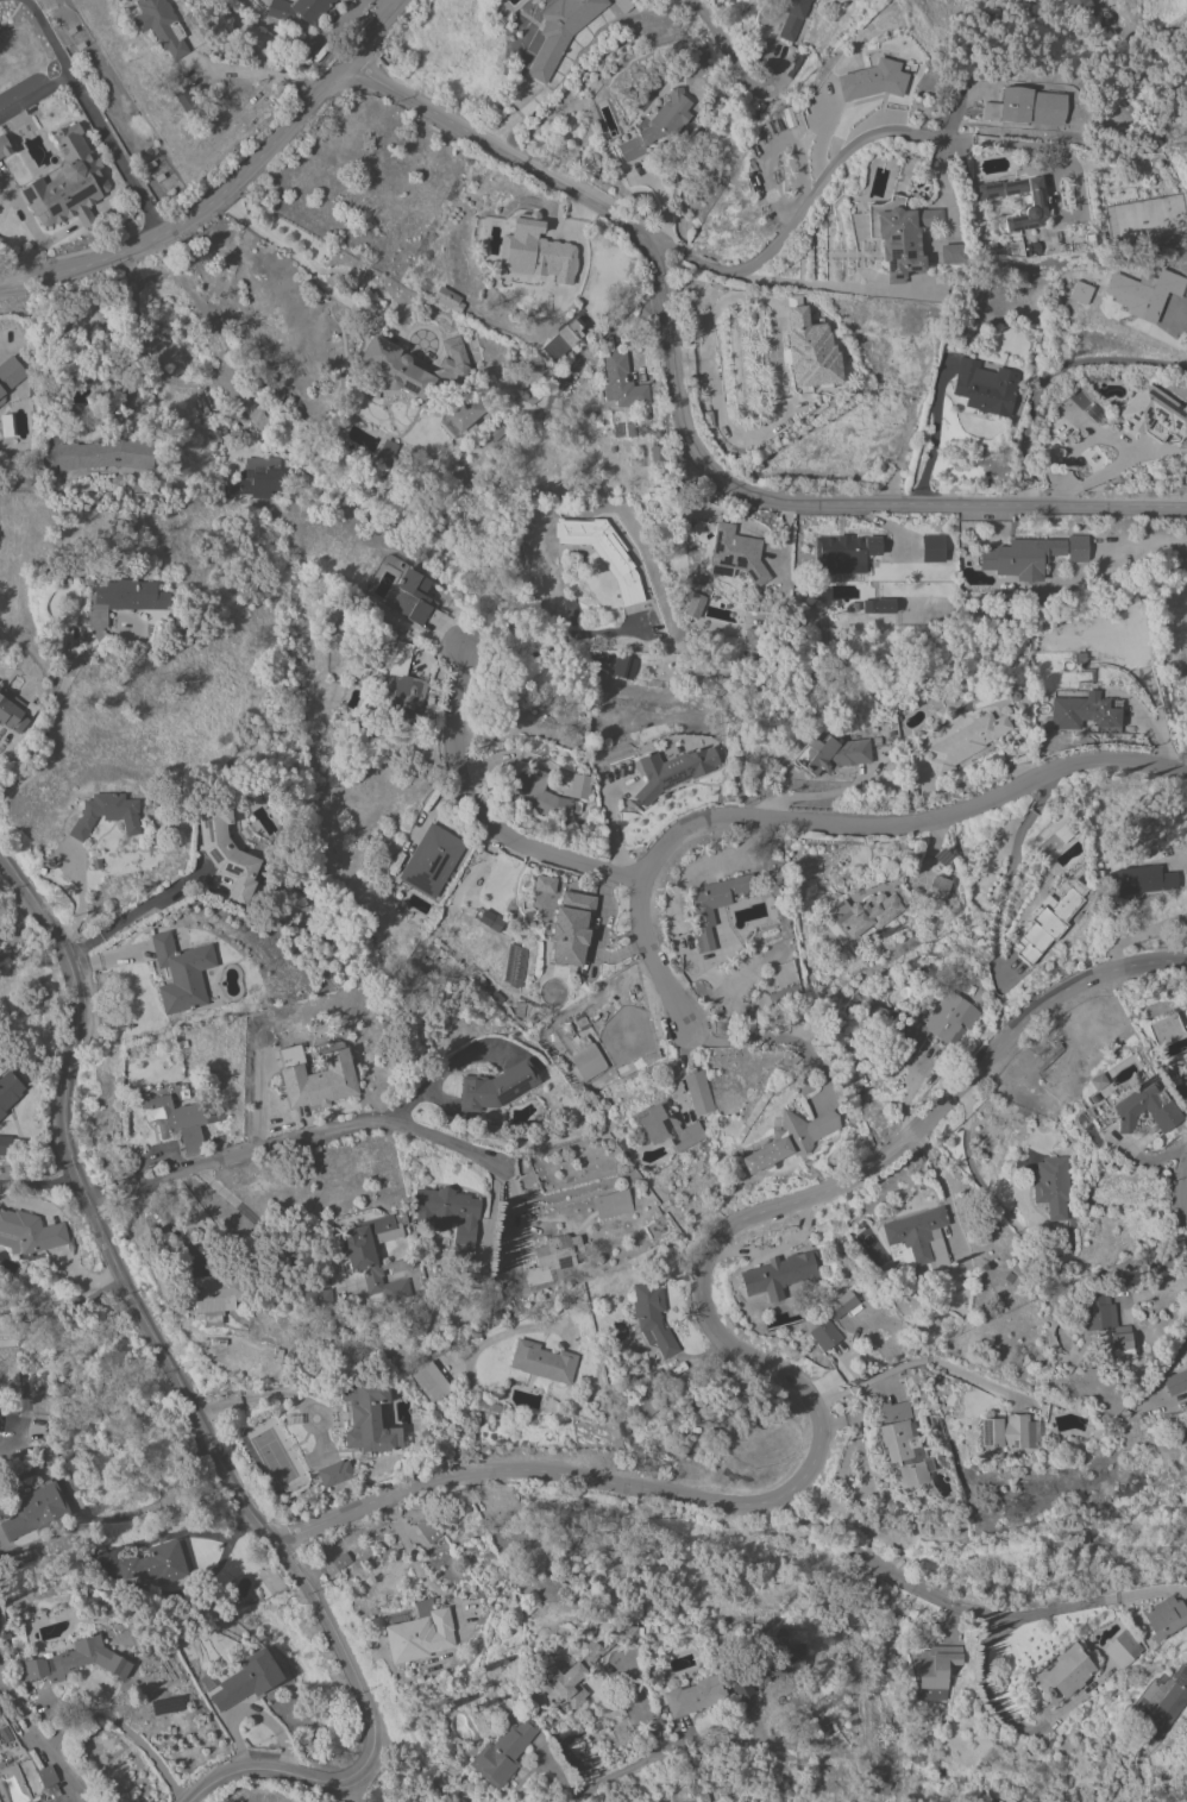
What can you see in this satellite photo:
road: (1106, 4)
building: (1082, 10)
building: (297, 11)
building: (792, 18)
building: (161, 25)
building: (557, 33)
road: (48, 39)
road: (720, 46)
building: (872, 80)
building: (184, 99)
building: (1025, 107)
road: (96, 120)
building: (658, 124)
road: (814, 124)
road: (780, 137)
road: (859, 140)
building: (4, 146)
building: (68, 182)
road: (231, 186)
building: (1036, 202)
road: (797, 208)
building: (900, 239)
building: (1, 240)
building: (538, 252)
building: (950, 253)
road: (308, 265)
road: (840, 287)
building: (1081, 291)
building: (1144, 291)
road: (193, 297)
building: (448, 299)
building: (106, 308)
building: (569, 332)
road: (90, 334)
building: (810, 350)
building: (394, 366)
building: (10, 375)
road: (1053, 378)
building: (620, 382)
building: (985, 387)
building: (1094, 412)
building: (255, 413)
building: (465, 413)
building: (1154, 413)
building: (495, 431)
road: (683, 431)
road: (935, 438)
building: (384, 452)
building: (657, 452)
building: (106, 453)
building: (256, 477)
building: (457, 485)
building: (931, 548)
building: (1078, 548)
building: (603, 552)
building: (843, 553)
building: (735, 554)
building: (1022, 557)
building: (412, 595)
building: (123, 598)
building: (693, 604)
building: (878, 605)
building: (571, 610)
building: (752, 636)
road: (549, 638)
building: (365, 651)
building: (623, 666)
building: (404, 687)
building: (14, 710)
building: (1084, 711)
road: (51, 729)
building: (356, 736)
building: (965, 742)
building: (831, 753)
building: (419, 768)
building: (672, 771)
building: (580, 786)
building: (534, 791)
road: (800, 795)
building: (106, 814)
road: (481, 818)
road: (825, 821)
building: (1053, 840)
building: (226, 852)
building: (431, 860)
road: (1007, 871)
building: (1141, 879)
building: (544, 884)
building: (937, 890)
building: (714, 905)
road: (127, 913)
building: (868, 913)
building: (486, 919)
road: (17, 925)
building: (1045, 925)
building: (570, 928)
road: (1138, 935)
building: (514, 965)
building: (182, 973)
building: (777, 998)
building: (943, 1021)
road: (775, 1040)
building: (288, 1055)
building: (588, 1062)
road: (446, 1074)
building: (1183, 1075)
building: (320, 1081)
building: (1095, 1081)
building: (495, 1086)
building: (8, 1090)
building: (698, 1092)
building: (1145, 1109)
building: (1105, 1116)
building: (180, 1120)
building: (670, 1129)
building: (791, 1139)
road: (295, 1141)
building: (5, 1144)
road: (39, 1180)
building: (1053, 1188)
road: (1182, 1195)
road: (947, 1201)
building: (611, 1204)
building: (450, 1217)
road: (260, 1225)
road: (172, 1229)
building: (29, 1232)
building: (917, 1238)
road: (58, 1242)
building: (549, 1256)
building: (360, 1261)
building: (780, 1273)
building: (219, 1289)
road: (1147, 1289)
building: (318, 1296)
building: (841, 1305)
building: (652, 1317)
building: (1103, 1317)
road: (38, 1319)
building: (824, 1335)
road: (748, 1360)
road: (924, 1361)
building: (542, 1362)
road: (1162, 1371)
building: (428, 1379)
building: (1175, 1382)
road: (258, 1398)
building: (645, 1400)
road: (190, 1402)
building: (369, 1418)
building: (1007, 1432)
building: (903, 1444)
building: (334, 1473)
road: (161, 1500)
building: (36, 1511)
building: (428, 1528)
building: (340, 1561)
building: (157, 1563)
road: (969, 1611)
building: (1164, 1616)
building: (419, 1633)
building: (1123, 1649)
building: (71, 1660)
building: (586, 1664)
building: (935, 1665)
building: (764, 1669)
building: (1063, 1674)
building: (246, 1679)
building: (693, 1695)
building: (1164, 1706)
road: (1010, 1721)
road: (119, 1725)
road: (40, 1747)
building: (502, 1752)
road: (409, 1765)
road: (629, 1766)
building: (46, 1776)
road: (559, 1778)
building: (874, 1782)
road: (354, 1788)
building: (692, 1794)

